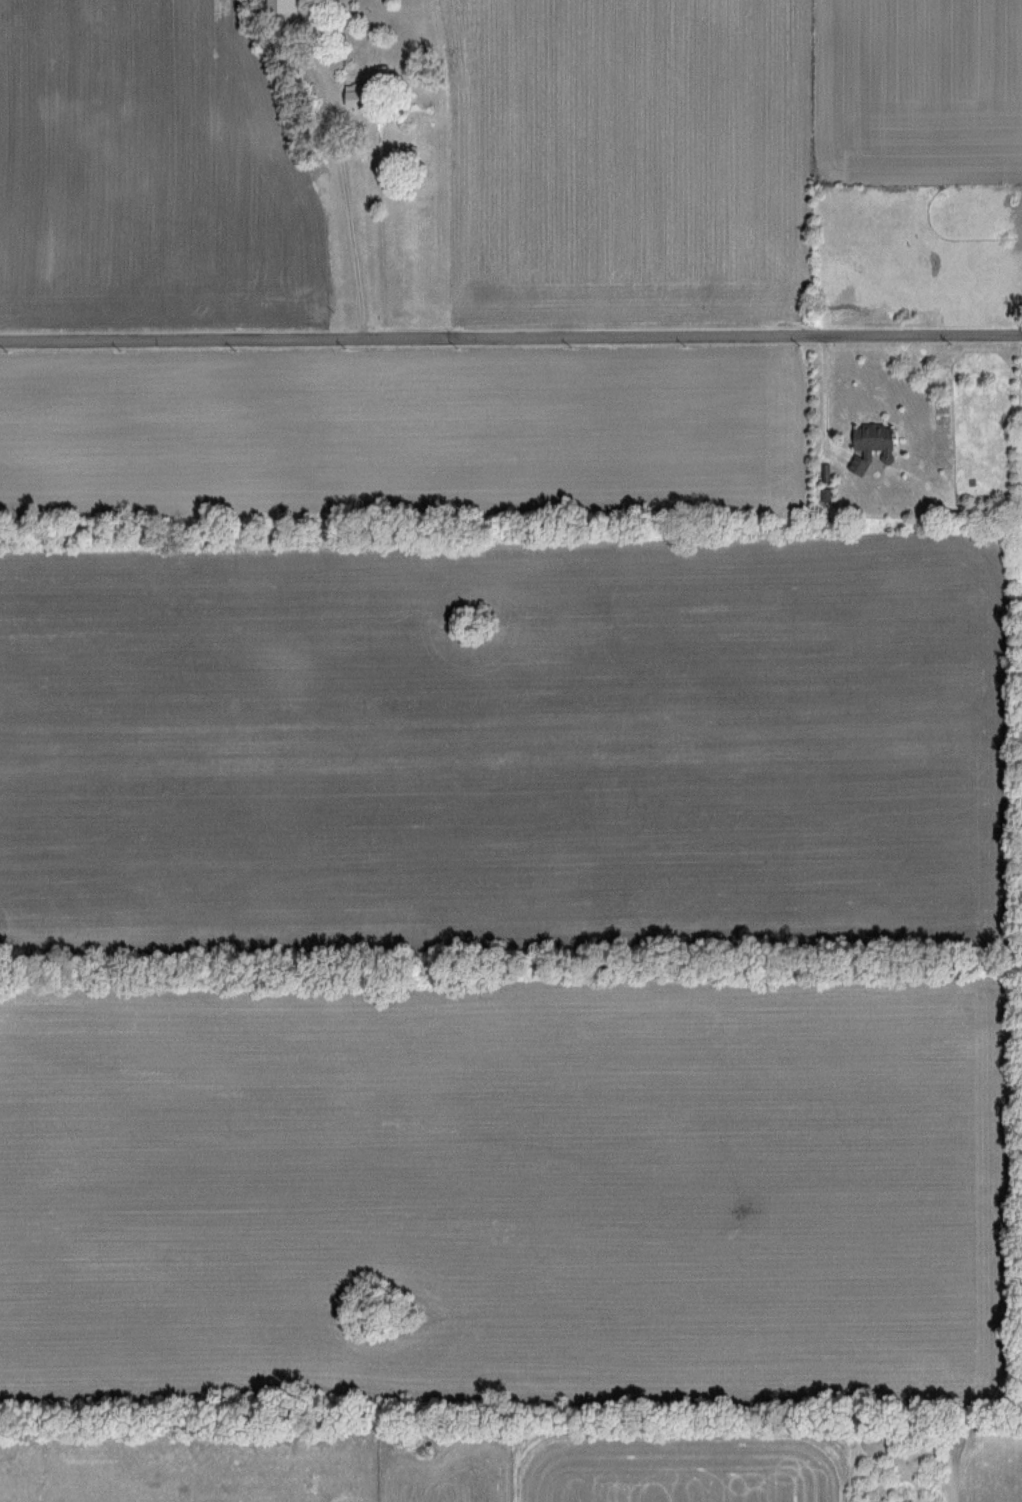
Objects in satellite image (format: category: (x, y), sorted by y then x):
road: (348, 213)
building: (1020, 221)
road: (511, 339)
road: (821, 401)
building: (867, 446)
building: (825, 497)

